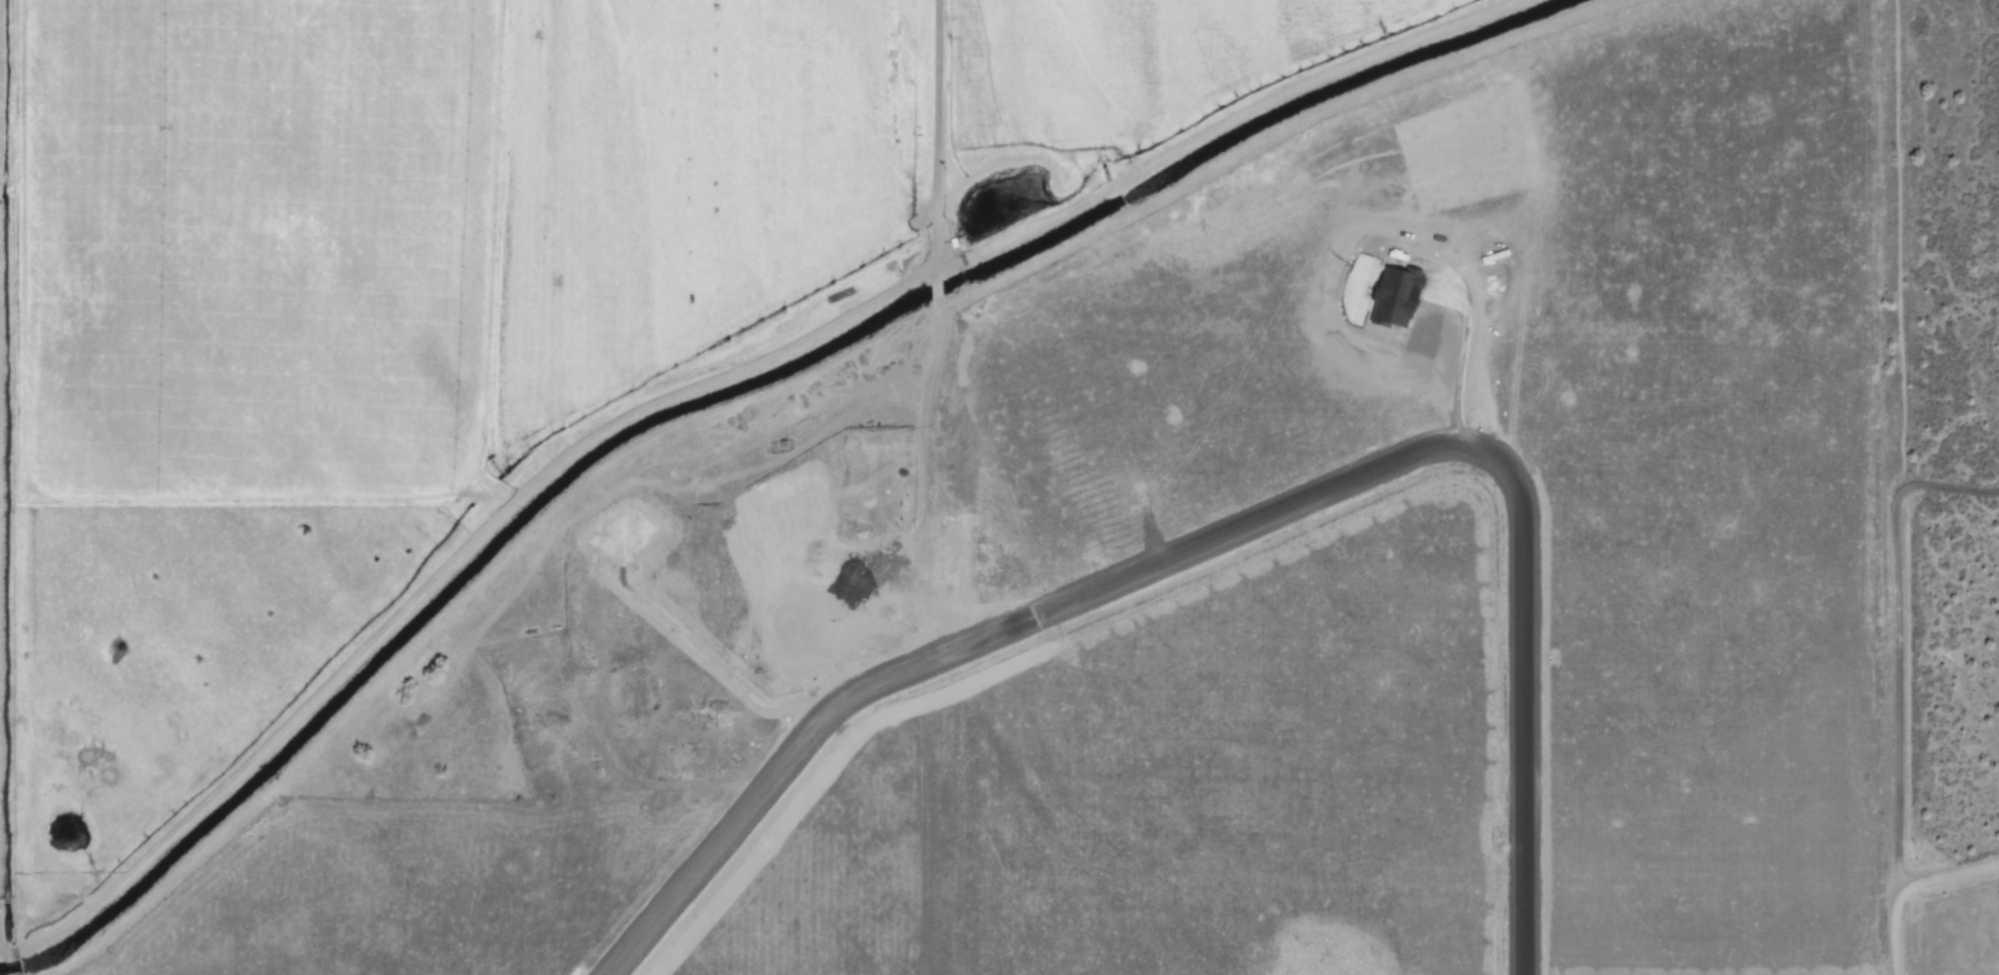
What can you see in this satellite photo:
building: (1399, 296)
road: (696, 382)
road: (1893, 537)
road: (1945, 872)

